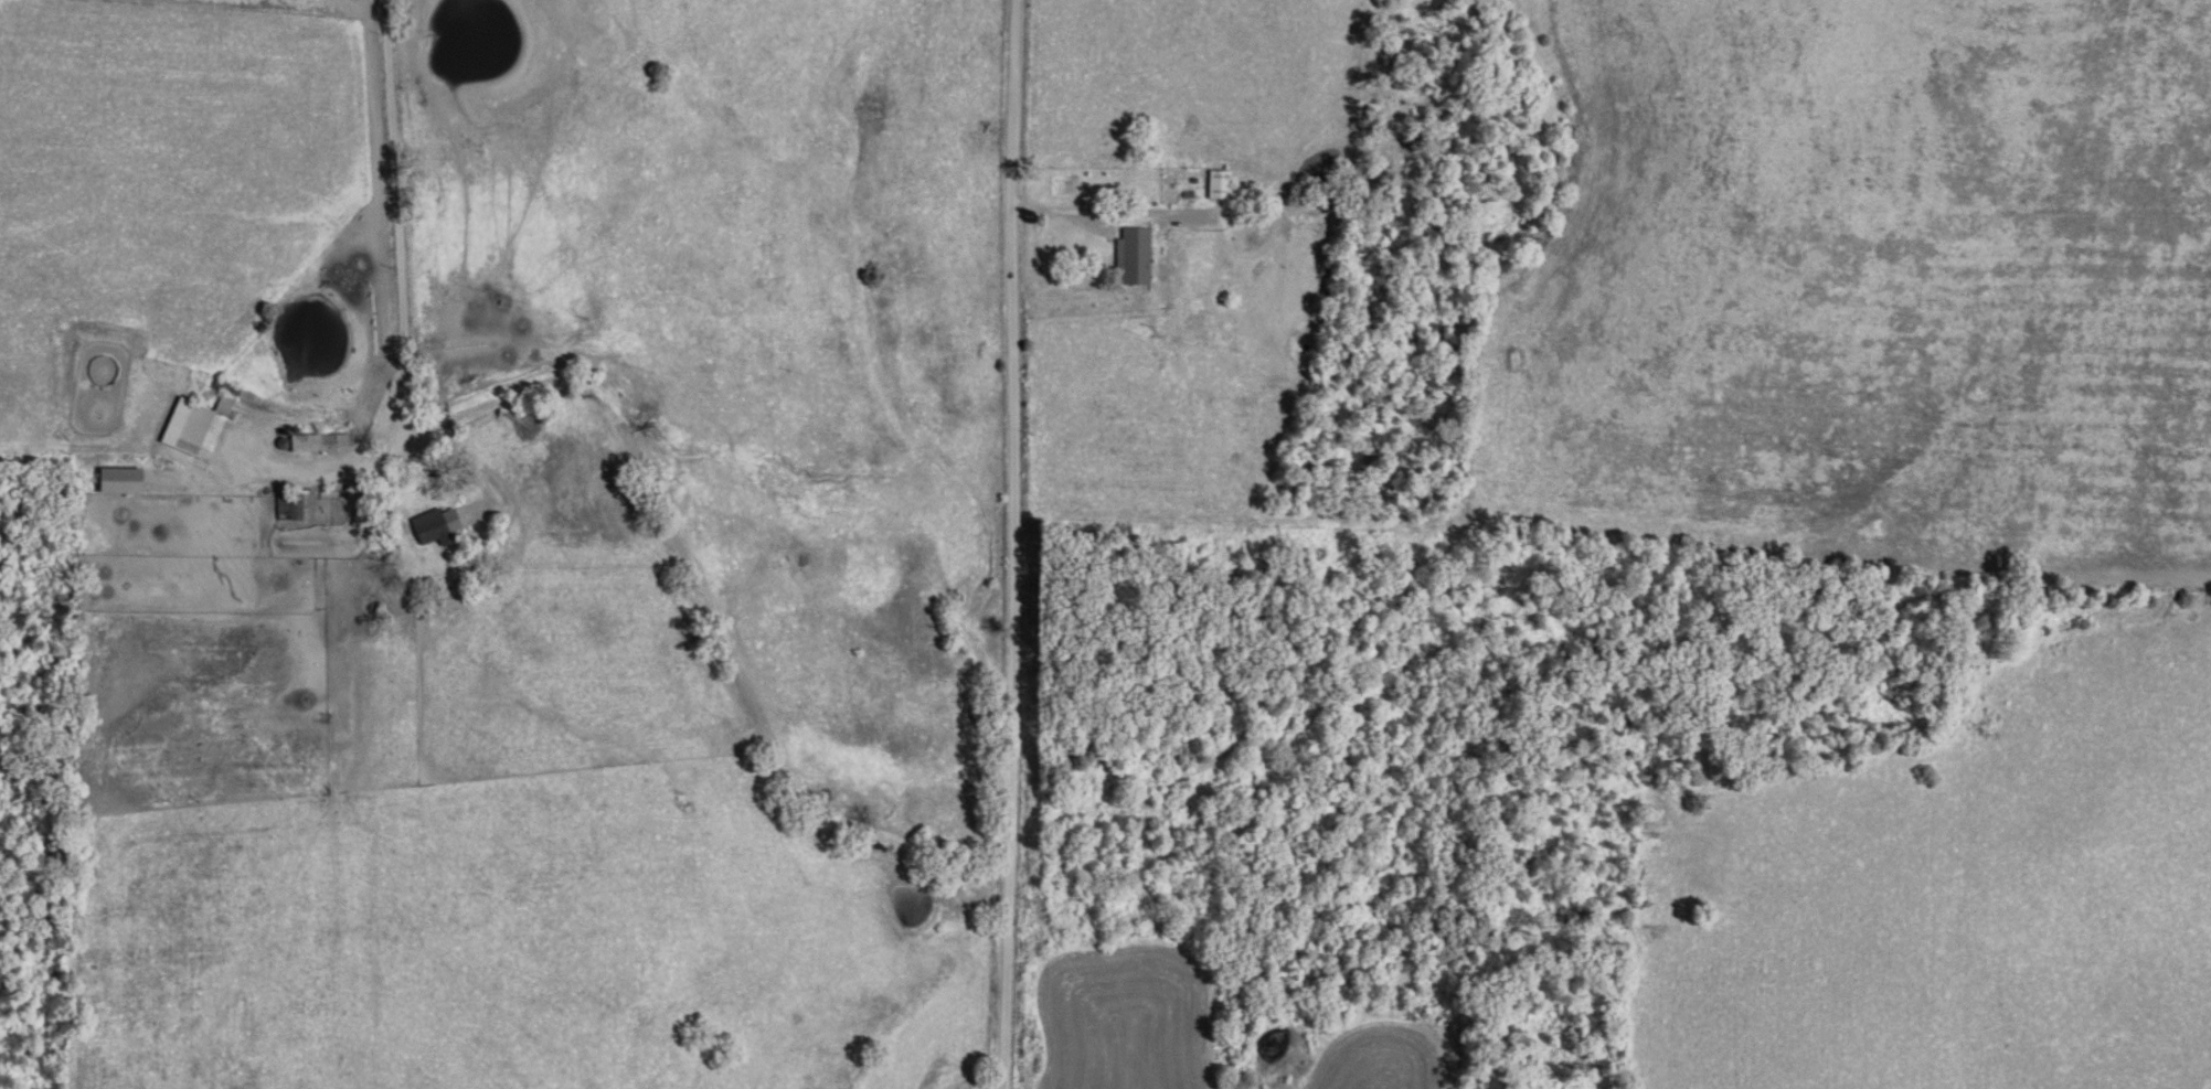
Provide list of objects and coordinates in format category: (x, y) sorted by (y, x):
building: (1213, 183)
building: (1129, 256)
building: (221, 407)
building: (180, 426)
building: (309, 442)
road: (621, 450)
building: (111, 480)
building: (298, 504)
road: (1034, 545)

